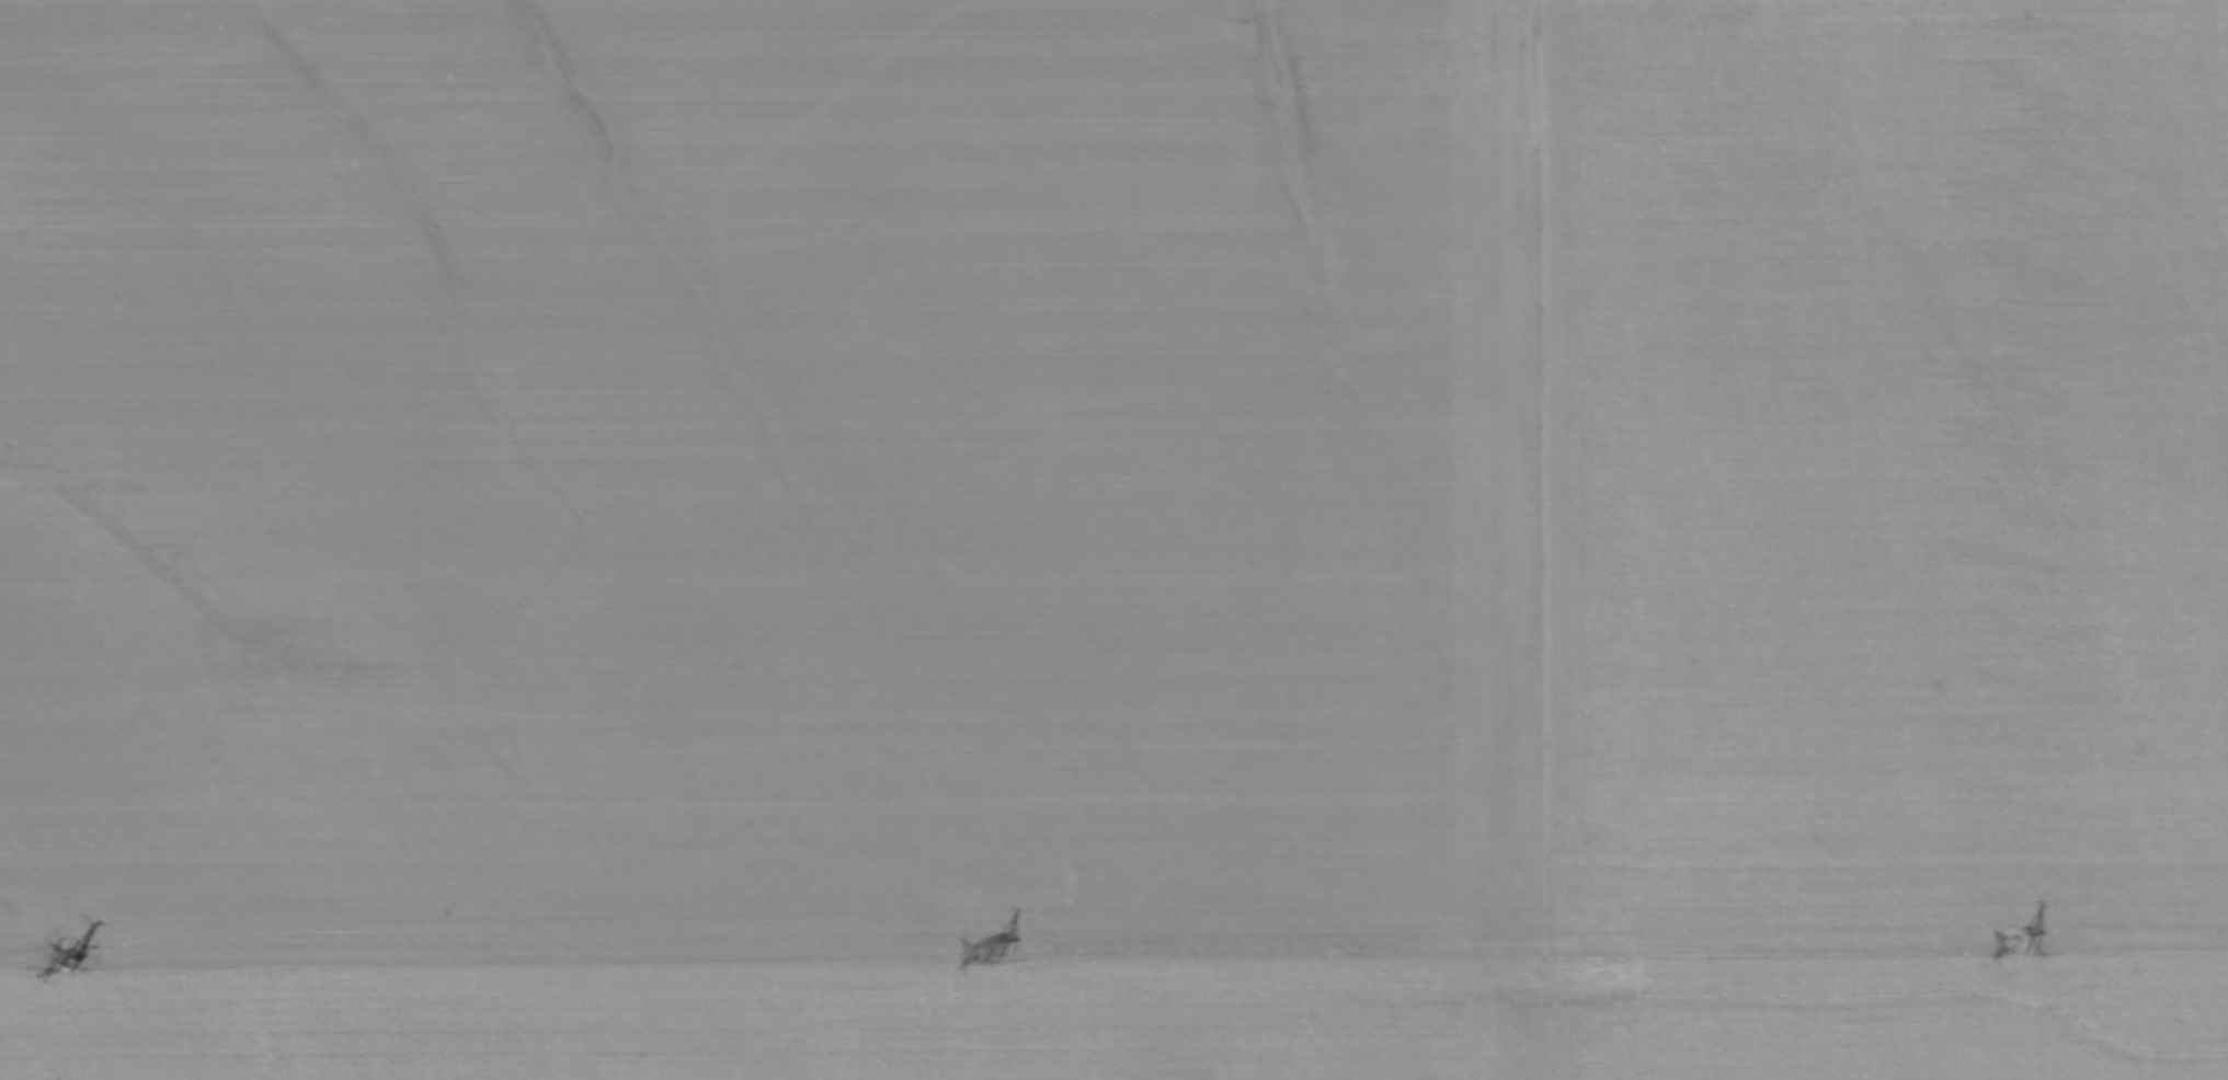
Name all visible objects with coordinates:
power tower: (2018, 942)
power tower: (994, 951)
power tower: (71, 960)

